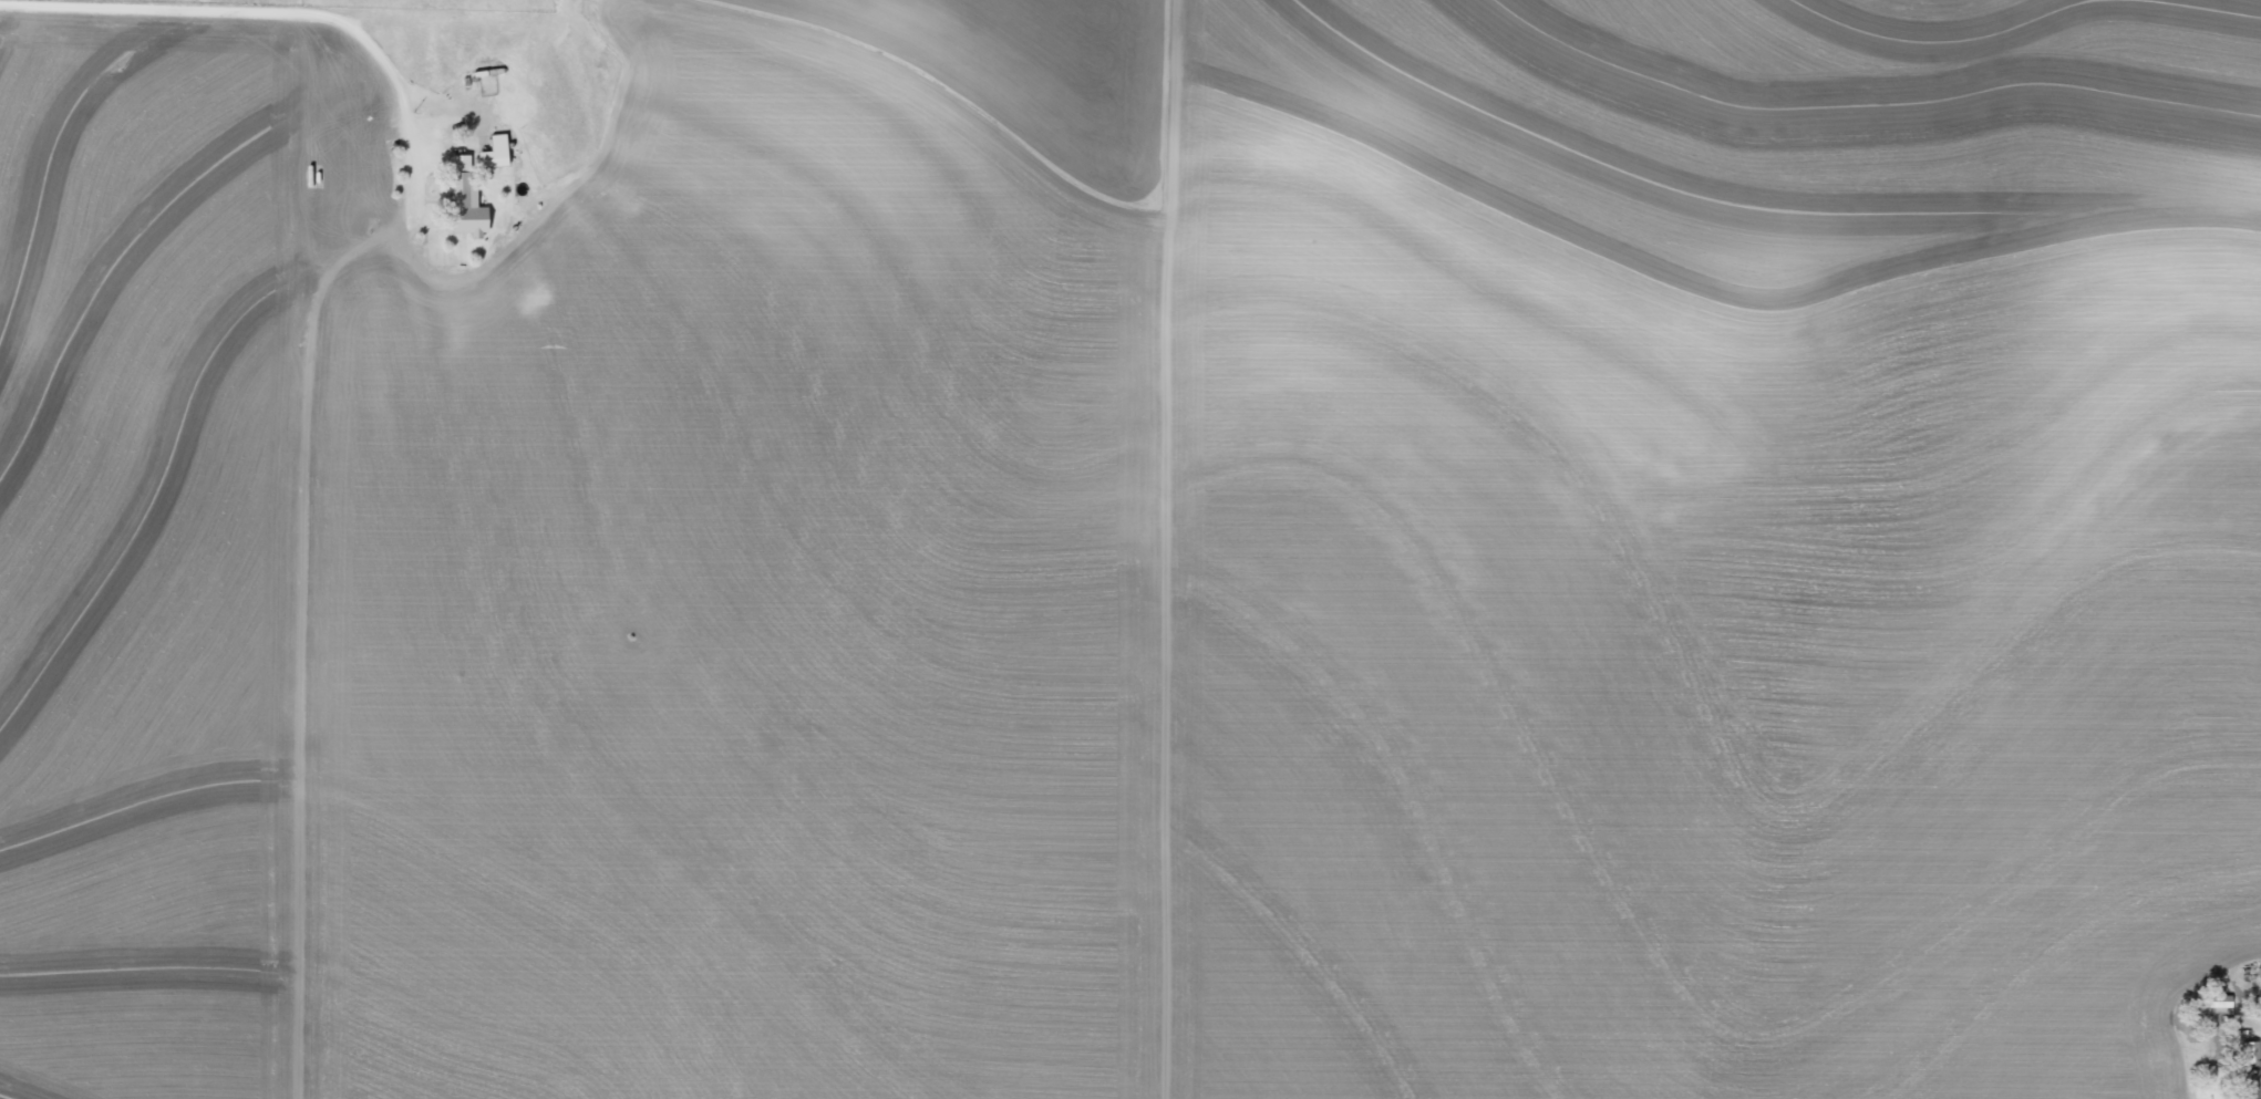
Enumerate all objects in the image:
road: (227, 22)

